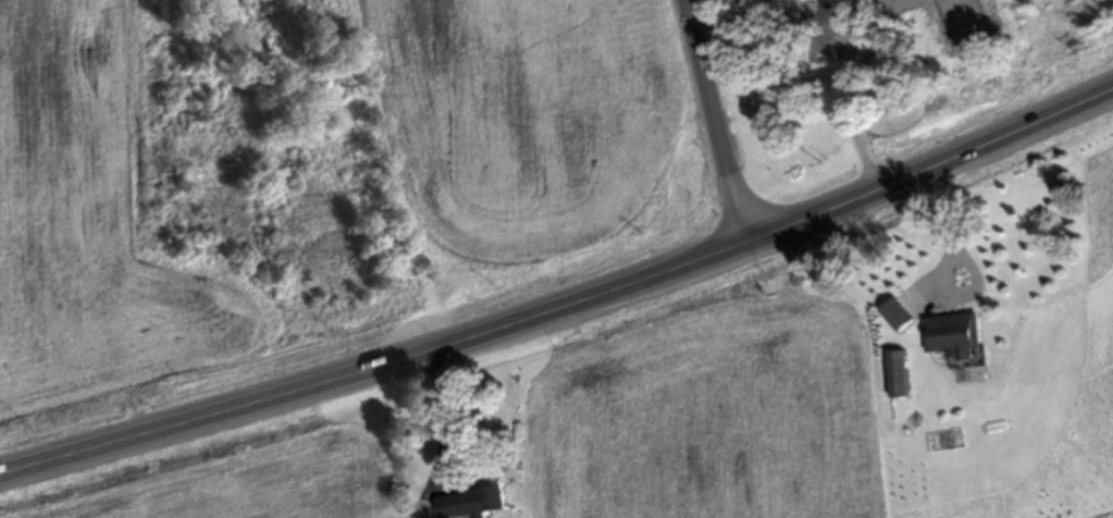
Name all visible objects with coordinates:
building: (890, 101)
road: (715, 121)
road: (951, 264)
road: (565, 308)
building: (896, 318)
building: (953, 337)
building: (899, 377)
road: (443, 429)
building: (472, 505)

